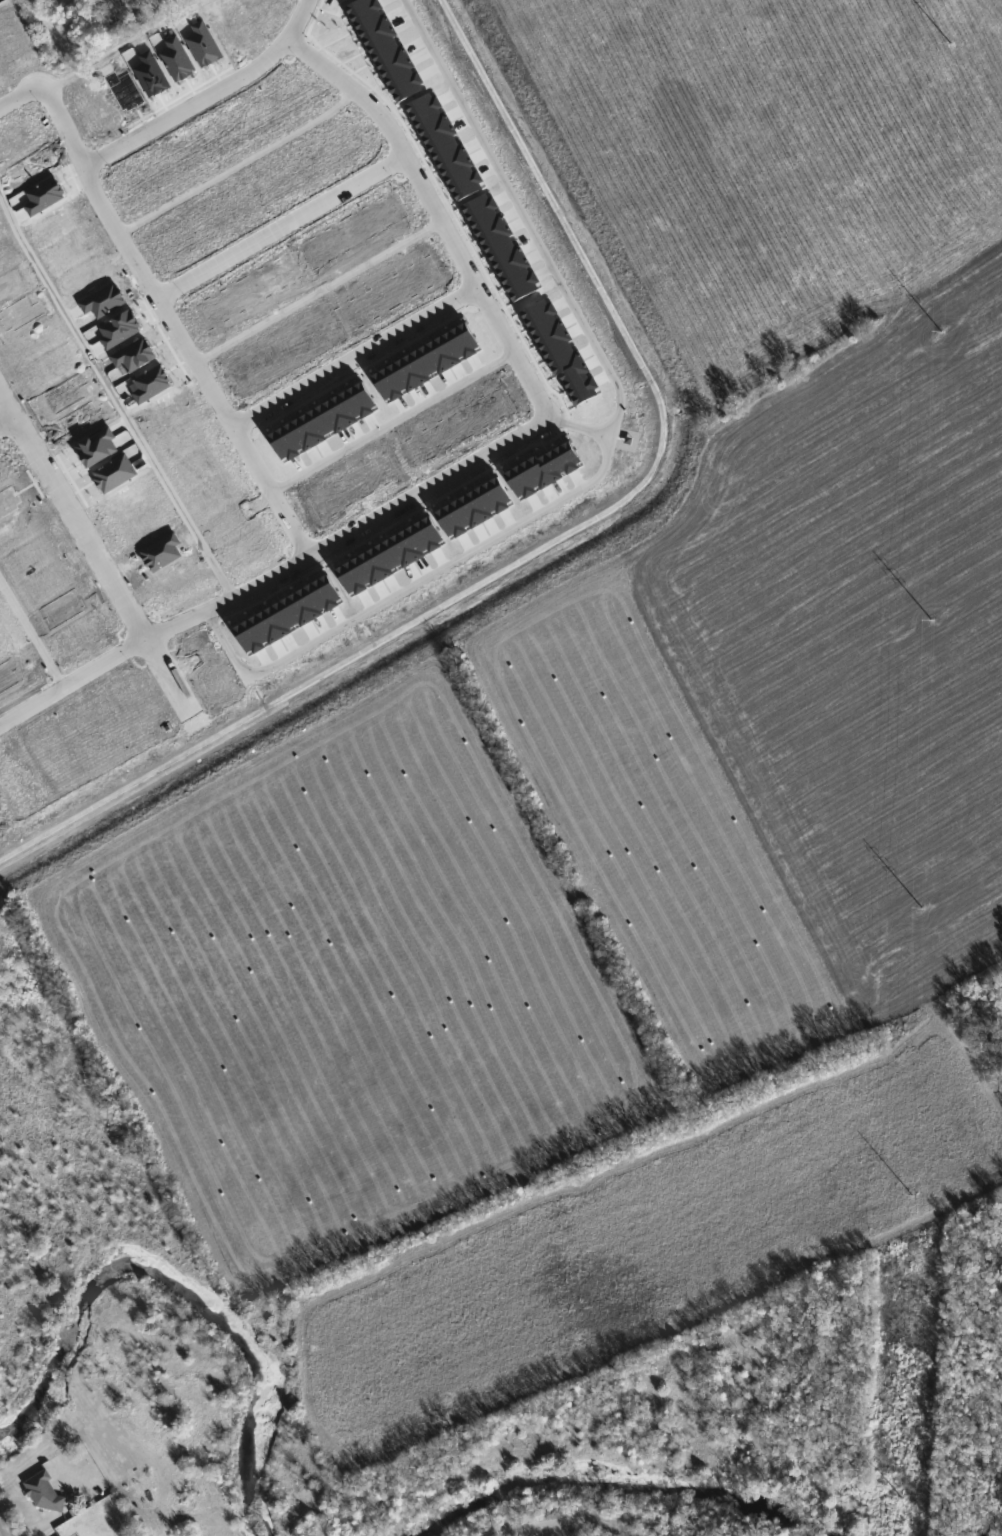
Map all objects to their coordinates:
building: (50, 0)
building: (65, 2)
road: (298, 18)
building: (101, 35)
road: (125, 44)
power tower: (950, 45)
road: (20, 93)
road: (189, 105)
road: (239, 164)
road: (437, 210)
road: (524, 214)
road: (282, 226)
road: (318, 291)
road: (171, 320)
power tower: (941, 333)
road: (355, 357)
road: (114, 395)
road: (392, 421)
road: (7, 422)
road: (579, 426)
road: (428, 486)
road: (96, 553)
road: (408, 586)
road: (230, 598)
power tower: (931, 620)
road: (32, 632)
road: (73, 680)
power tower: (921, 909)
power tower: (913, 1196)
building: (44, 1492)
power tower: (902, 1500)
road: (4, 1527)

